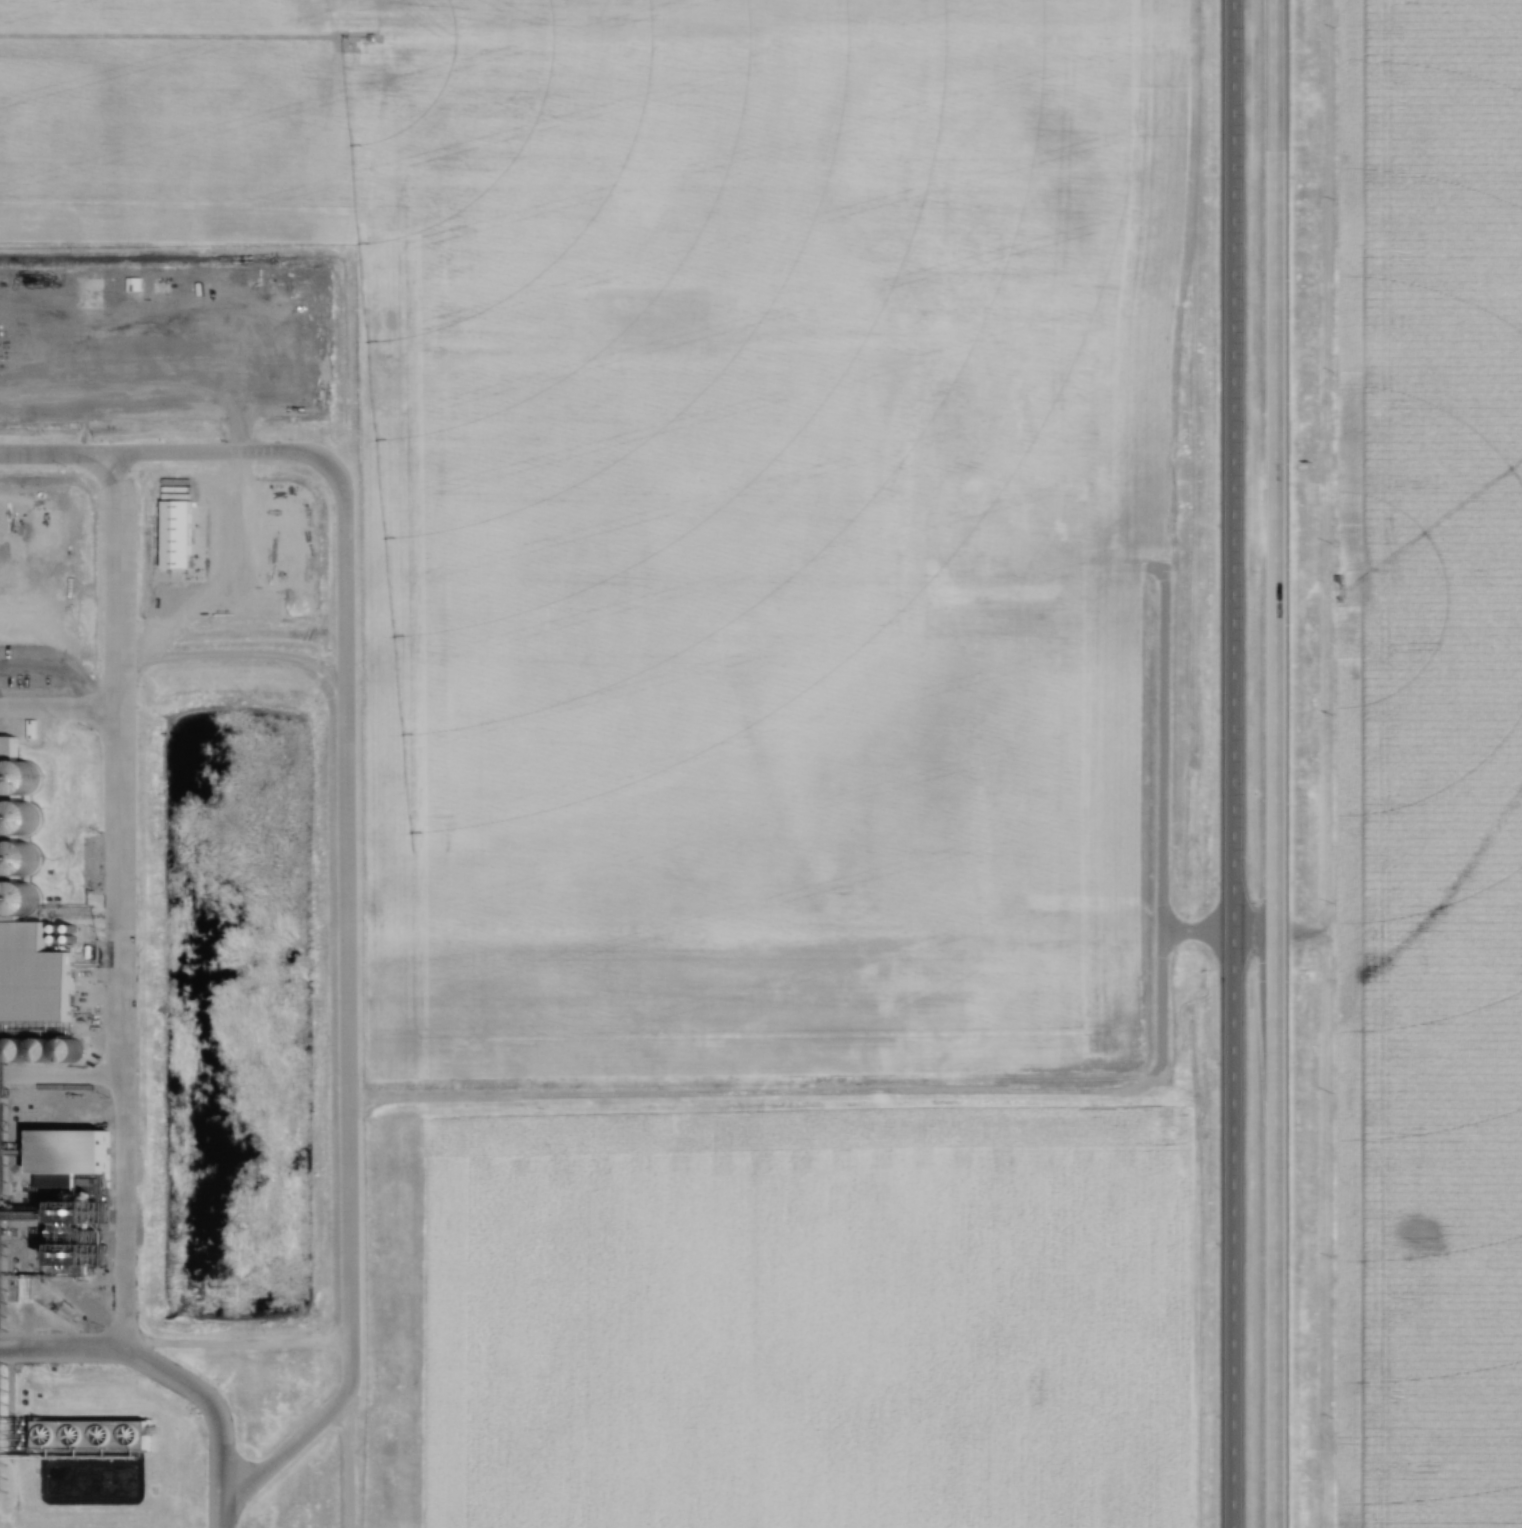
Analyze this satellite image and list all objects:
building: (1281, 161)
road: (63, 701)
road: (1272, 763)
road: (1230, 764)
building: (34, 767)
road: (1163, 821)
road: (127, 843)
road: (1197, 935)
road: (1251, 935)
building: (36, 977)
road: (64, 1071)
road: (449, 1092)
road: (346, 1097)
building: (2, 1250)
road: (349, 1304)
road: (175, 1370)
building: (3, 1478)

